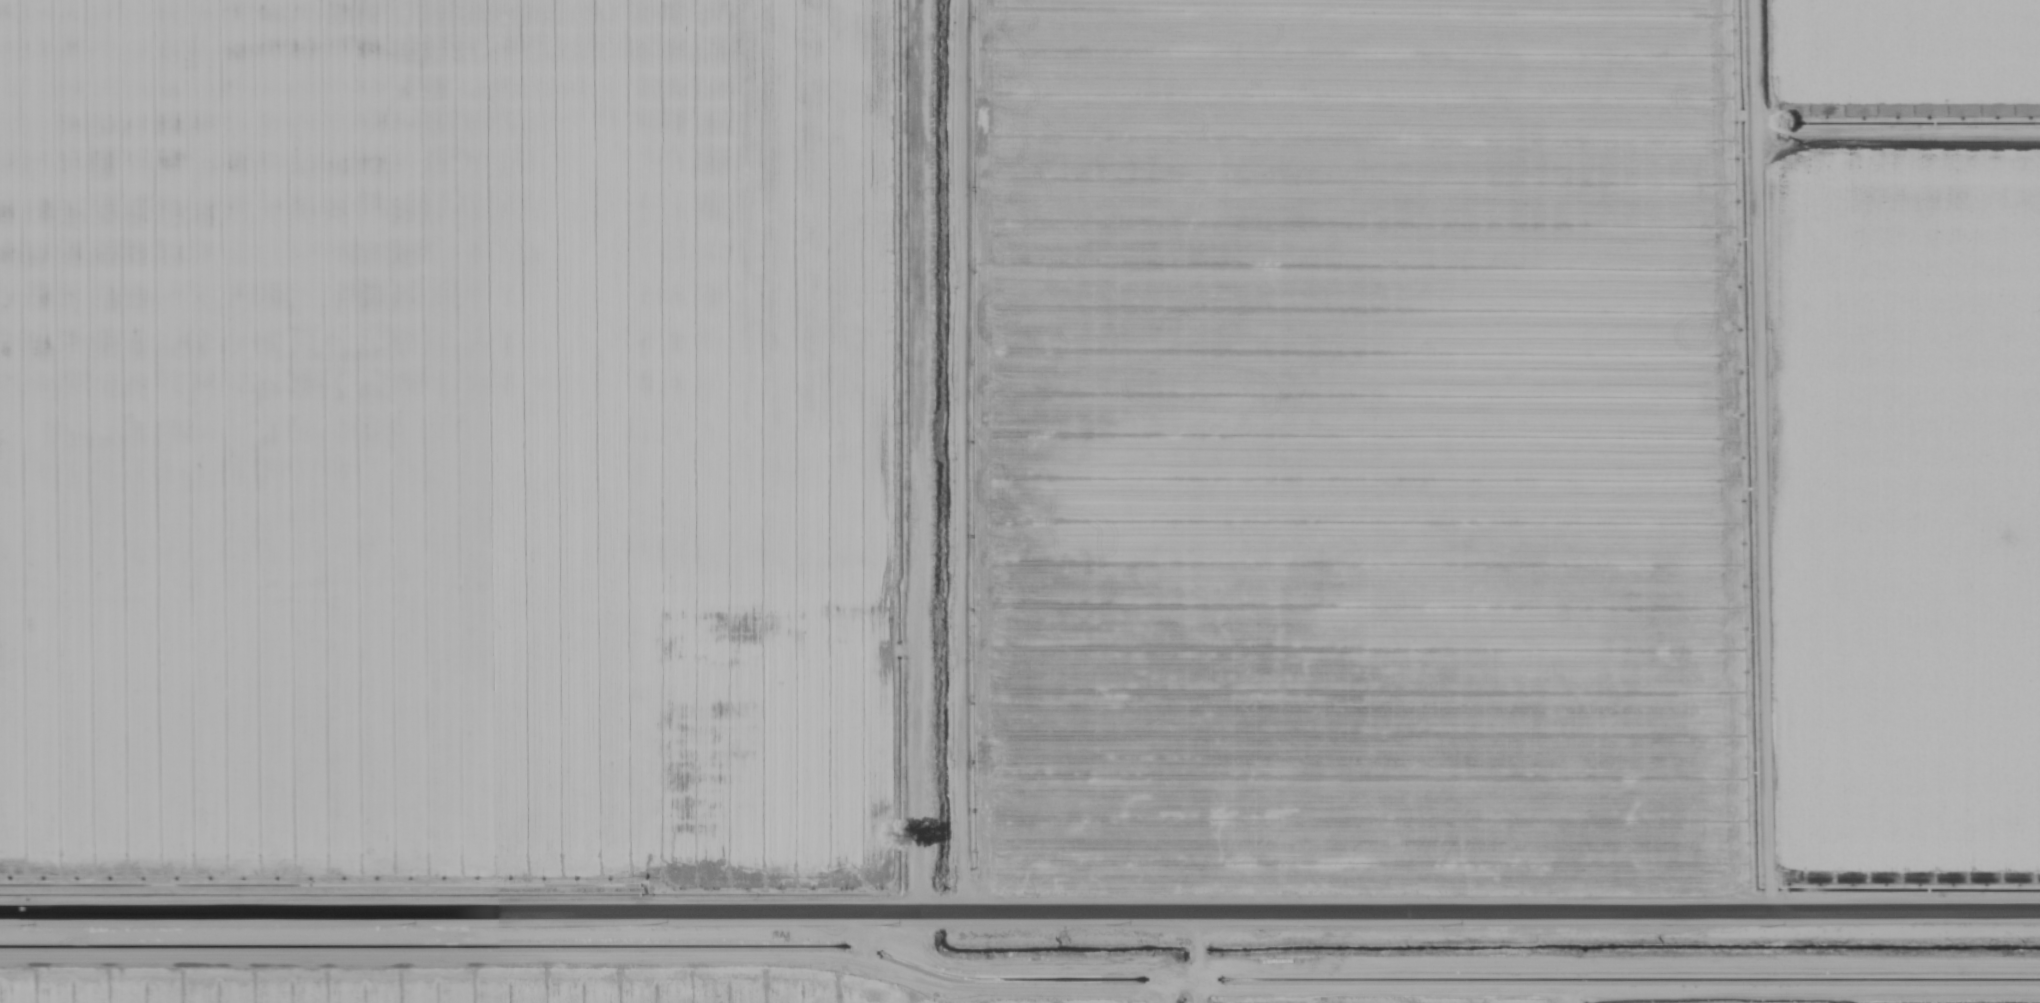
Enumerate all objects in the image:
road: (923, 451)
road: (1020, 901)

